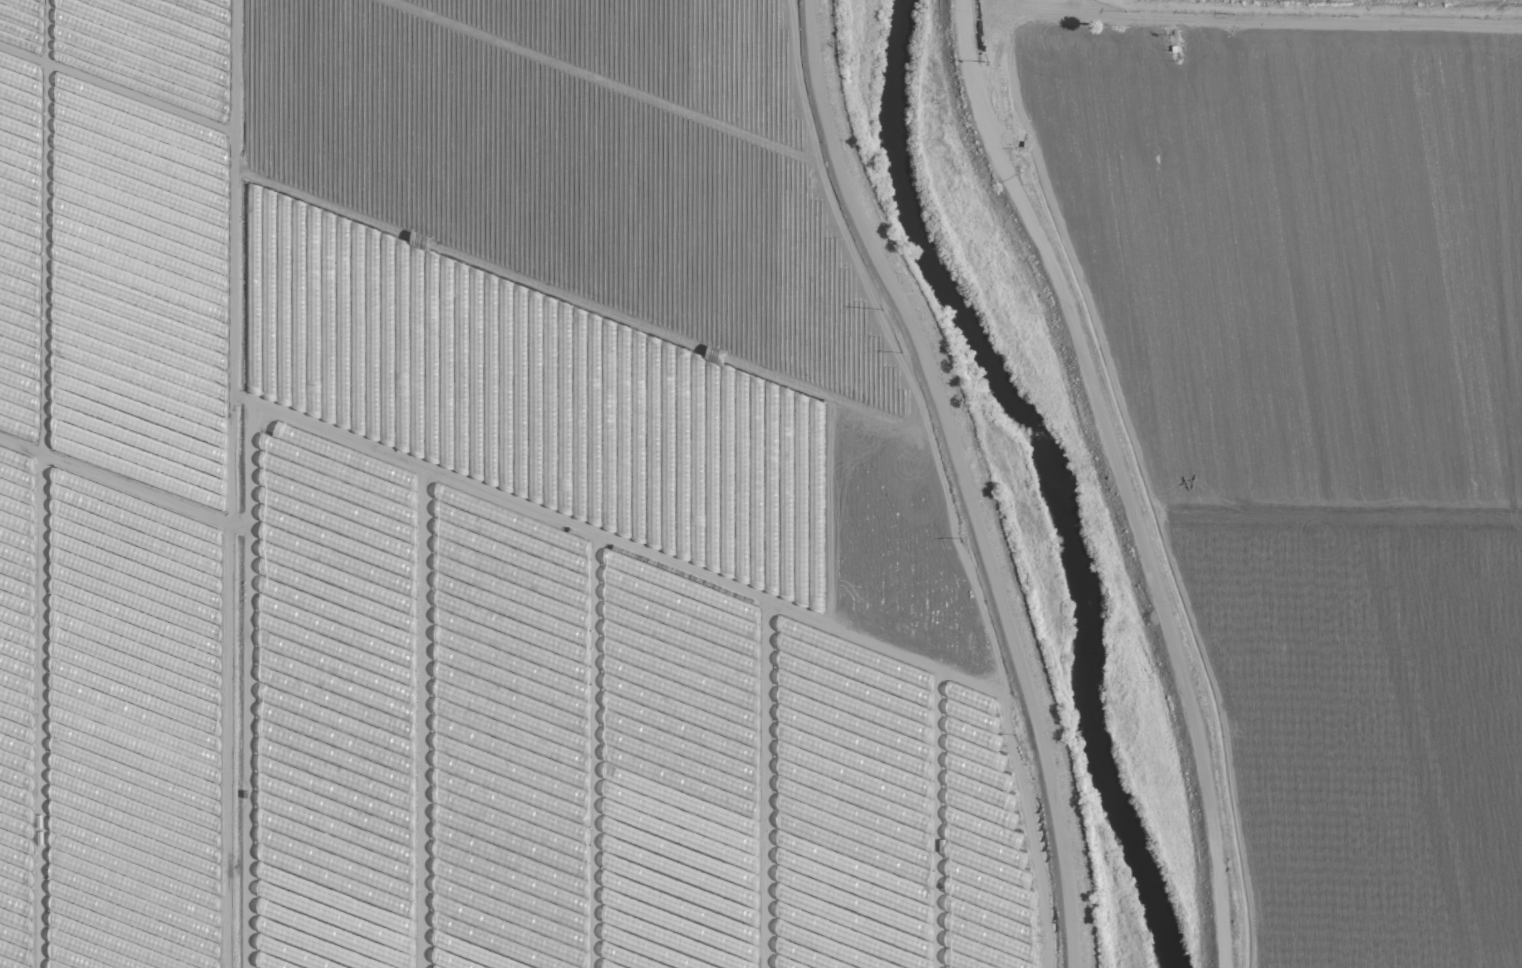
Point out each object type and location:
road: (1309, 16)
crop: (1296, 428)
road: (961, 476)
crop: (469, 510)

